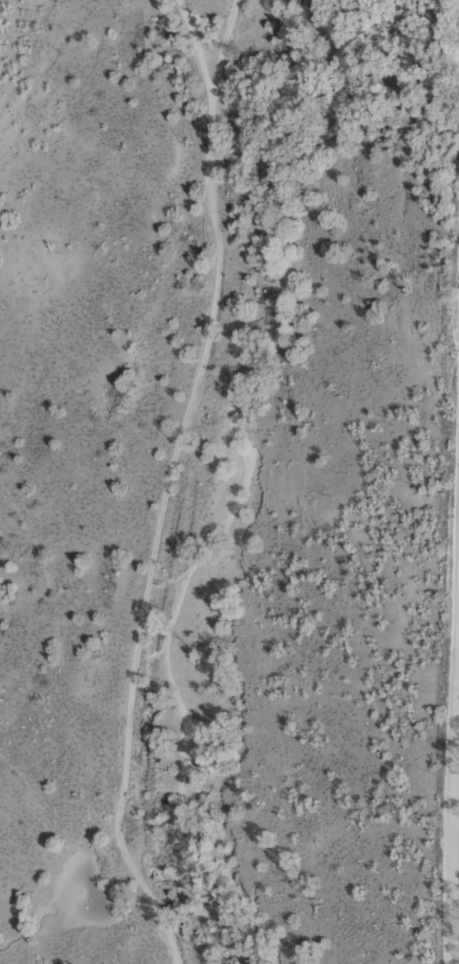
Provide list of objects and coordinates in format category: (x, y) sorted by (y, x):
road: (183, 57)
road: (209, 480)
crop: (229, 482)
road: (455, 835)

